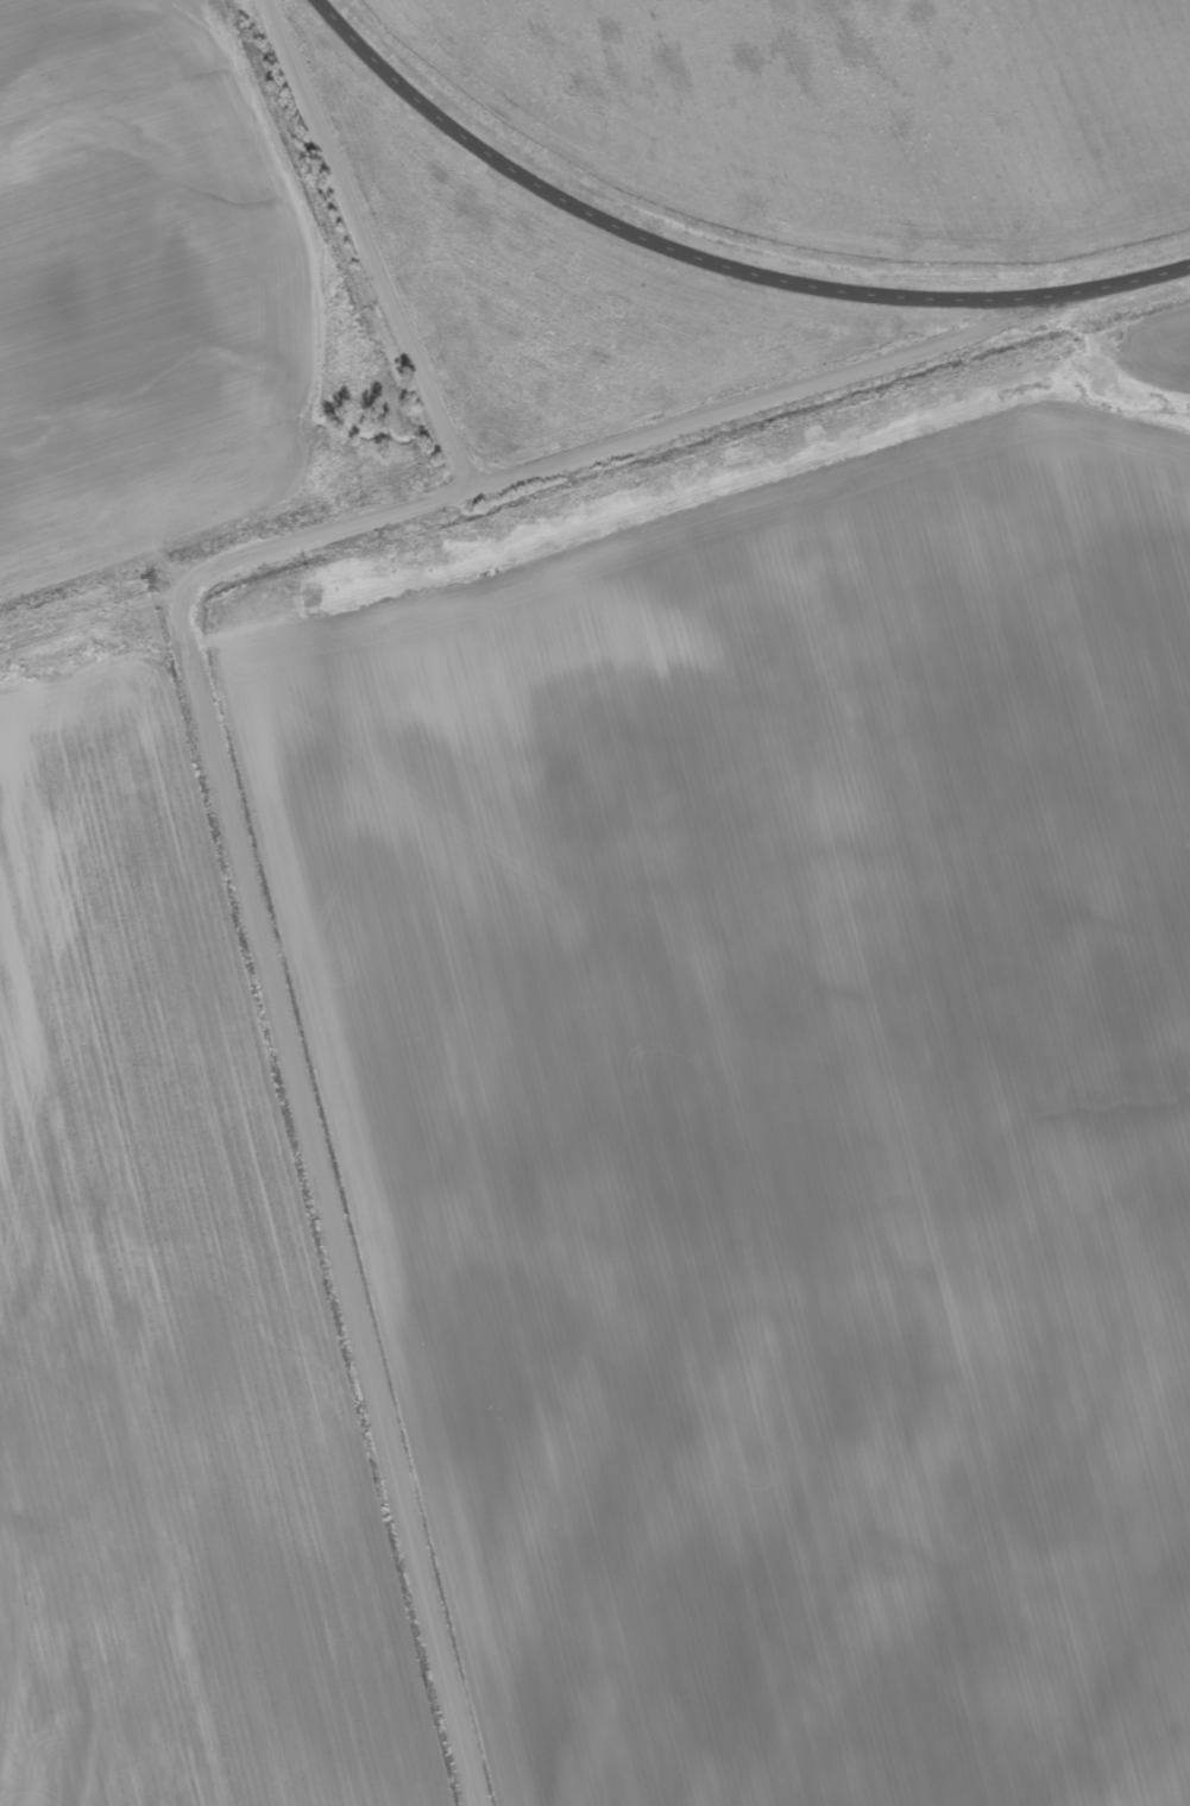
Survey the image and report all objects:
road: (712, 264)
road: (622, 355)
road: (246, 429)
road: (93, 633)
road: (226, 799)

